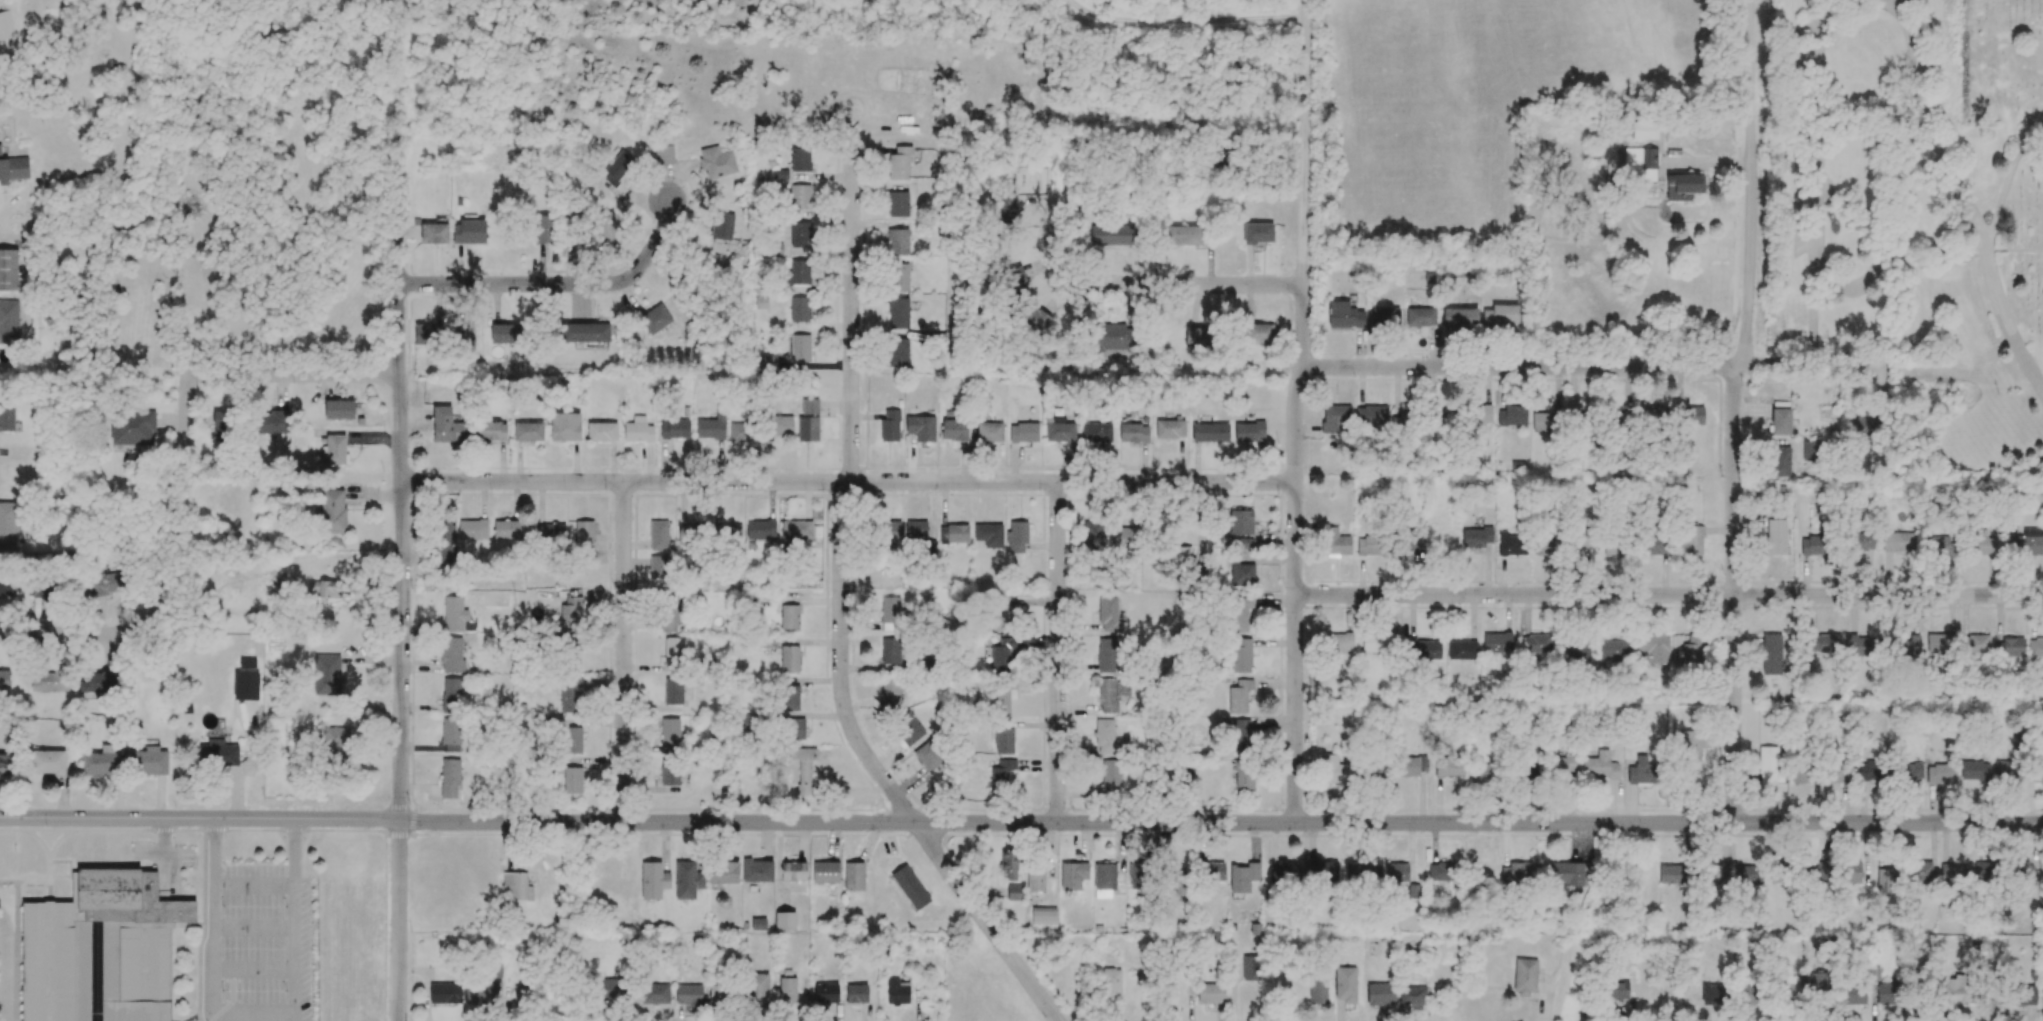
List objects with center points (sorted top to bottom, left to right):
building: (6, 25)
road: (892, 128)
building: (1644, 130)
building: (664, 154)
building: (800, 159)
building: (717, 162)
building: (899, 163)
building: (1640, 164)
building: (13, 168)
building: (617, 168)
road: (1817, 169)
road: (1956, 184)
building: (1683, 186)
road: (2006, 188)
road: (1067, 191)
building: (800, 196)
building: (898, 204)
building: (1004, 207)
park: (1915, 215)
building: (607, 225)
building: (722, 225)
building: (573, 228)
building: (544, 229)
building: (468, 232)
building: (433, 233)
building: (1258, 233)
building: (800, 234)
building: (1113, 234)
building: (1184, 235)
building: (898, 241)
road: (1879, 249)
building: (772, 250)
building: (8, 269)
building: (798, 273)
building: (899, 277)
building: (1017, 281)
road: (552, 284)
road: (1185, 284)
building: (761, 302)
building: (800, 309)
building: (898, 313)
building: (1501, 314)
building: (1344, 315)
building: (1385, 317)
building: (1420, 317)
building: (655, 318)
building: (1460, 318)
building: (1037, 320)
building: (9, 321)
building: (585, 332)
building: (505, 333)
building: (1258, 333)
building: (426, 334)
building: (1113, 337)
building: (1196, 337)
building: (464, 338)
building: (800, 348)
building: (899, 352)
building: (767, 362)
road: (1517, 366)
road: (2033, 367)
road: (288, 373)
building: (339, 409)
road: (1733, 409)
road: (1294, 411)
building: (1481, 414)
building: (1655, 414)
building: (7, 415)
building: (1371, 415)
building: (1692, 415)
building: (1511, 416)
building: (1334, 417)
building: (1618, 419)
building: (1441, 420)
building: (1548, 420)
building: (809, 421)
building: (1781, 421)
building: (273, 422)
building: (1401, 422)
building: (1866, 422)
building: (223, 425)
building: (779, 425)
building: (448, 426)
building: (890, 426)
building: (132, 427)
building: (565, 427)
building: (711, 427)
building: (921, 428)
building: (1170, 428)
building: (674, 429)
building: (954, 429)
building: (1059, 429)
building: (638, 430)
building: (491, 431)
building: (528, 431)
building: (602, 431)
building: (990, 431)
building: (1248, 431)
building: (743, 432)
building: (1023, 432)
building: (1096, 432)
building: (1133, 432)
building: (1210, 432)
building: (336, 449)
building: (1810, 450)
building: (1779, 461)
road: (847, 482)
road: (160, 507)
road: (402, 508)
building: (333, 511)
building: (1241, 522)
building: (8, 524)
building: (472, 529)
building: (506, 529)
building: (761, 529)
building: (797, 530)
building: (891, 530)
building: (916, 530)
building: (584, 532)
building: (550, 533)
building: (729, 533)
building: (689, 534)
building: (954, 534)
building: (658, 535)
building: (989, 535)
building: (1017, 536)
building: (1776, 536)
building: (1092, 537)
building: (1410, 537)
building: (1476, 537)
building: (1588, 537)
building: (1125, 538)
building: (1694, 540)
building: (2031, 540)
building: (443, 542)
building: (1862, 542)
building: (1899, 542)
building: (1244, 543)
building: (1336, 543)
building: (1982, 543)
building: (1509, 544)
building: (1370, 545)
building: (1549, 545)
building: (1615, 545)
building: (1655, 545)
building: (1812, 545)
building: (1940, 547)
building: (1181, 558)
building: (658, 566)
building: (1241, 573)
building: (102, 584)
building: (6, 585)
building: (45, 588)
building: (323, 589)
road: (1668, 595)
road: (840, 607)
building: (889, 610)
building: (670, 613)
building: (1239, 613)
building: (454, 614)
building: (570, 614)
building: (1002, 614)
building: (1108, 614)
building: (789, 617)
road: (71, 633)
building: (1337, 642)
building: (1378, 642)
building: (1497, 642)
building: (1824, 643)
building: (1939, 643)
building: (1976, 643)
building: (1537, 644)
building: (1861, 646)
building: (1908, 646)
building: (1653, 647)
building: (2008, 647)
building: (2035, 647)
building: (1422, 648)
building: (1462, 649)
building: (1615, 649)
building: (890, 650)
road: (622, 651)
building: (673, 651)
building: (1576, 651)
building: (1693, 651)
road: (1056, 652)
building: (452, 654)
building: (1002, 654)
building: (1771, 654)
building: (1107, 655)
building: (1241, 655)
building: (789, 658)
building: (326, 674)
building: (5, 679)
building: (51, 681)
building: (98, 681)
building: (246, 686)
building: (673, 691)
building: (890, 691)
building: (570, 694)
building: (1111, 694)
building: (451, 695)
building: (1002, 695)
building: (1239, 696)
building: (789, 697)
building: (796, 728)
building: (909, 729)
building: (451, 731)
building: (670, 735)
building: (1243, 736)
building: (1102, 738)
building: (573, 740)
building: (1004, 740)
building: (335, 741)
building: (218, 752)
building: (928, 755)
building: (148, 760)
building: (47, 762)
building: (100, 762)
building: (1423, 763)
building: (5, 764)
building: (1564, 764)
building: (1768, 765)
building: (1408, 766)
building: (1449, 766)
building: (1600, 766)
building: (803, 767)
building: (1335, 770)
building: (1873, 770)
building: (1974, 770)
building: (1641, 771)
building: (2007, 771)
building: (1376, 772)
building: (1911, 772)
building: (670, 773)
building: (1483, 773)
building: (1802, 773)
building: (1839, 773)
building: (2037, 773)
building: (1527, 774)
building: (1940, 774)
building: (1001, 775)
building: (1244, 776)
building: (449, 778)
building: (1109, 778)
building: (572, 780)
road: (457, 821)
road: (1479, 823)
road: (163, 849)
building: (1008, 864)
building: (757, 870)
building: (793, 871)
building: (1212, 871)
building: (1322, 871)
building: (1443, 871)
building: (1918, 871)
building: (1983, 871)
building: (2024, 871)
building: (723, 872)
building: (825, 872)
building: (1362, 872)
building: (1515, 872)
building: (1777, 872)
building: (1850, 872)
building: (1284, 873)
building: (1673, 874)
building: (1740, 874)
building: (1954, 874)
building: (1073, 875)
building: (1485, 875)
building: (1567, 875)
building: (854, 876)
building: (1138, 876)
building: (1243, 877)
building: (1104, 879)
building: (653, 880)
building: (687, 880)
building: (1036, 880)
building: (1884, 881)
building: (1179, 884)
building: (516, 886)
building: (910, 887)
building: (1014, 892)
building: (1043, 915)
building: (785, 921)
building: (758, 923)
road: (254, 928)
building: (101, 949)
building: (1250, 967)
road: (4, 968)
building: (495, 971)
building: (1525, 976)
building: (1818, 982)
building: (1345, 984)
building: (1111, 985)
building: (758, 988)
building: (1787, 988)
building: (613, 989)
building: (1318, 989)
building: (1618, 989)
building: (787, 990)
building: (1955, 990)
building: (897, 991)
building: (444, 993)
building: (480, 993)
building: (653, 993)
building: (856, 993)
building: (1210, 993)
building: (1888, 993)
building: (718, 994)
building: (826, 994)
building: (1380, 994)
building: (1713, 994)
building: (1749, 994)
building: (1854, 994)
building: (522, 995)
building: (689, 995)
building: (2021, 995)
building: (1413, 997)
road: (253, 1013)

